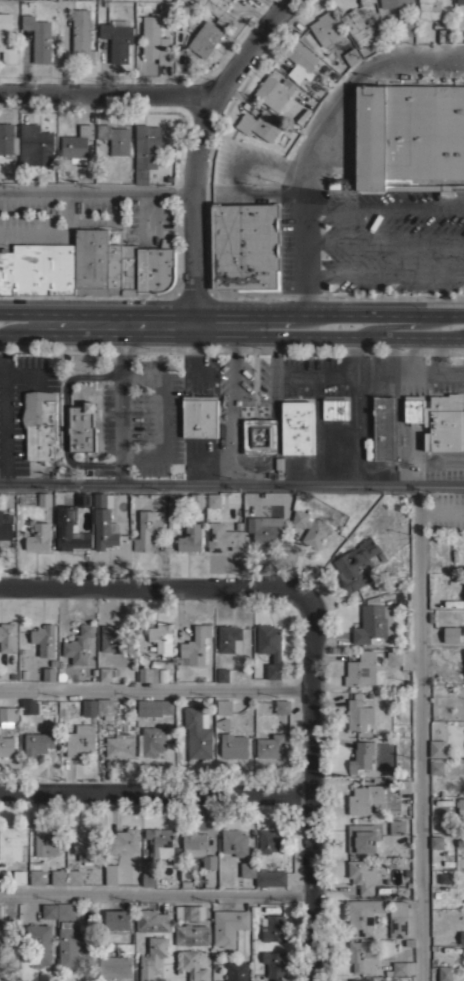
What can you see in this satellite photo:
building: (365, 1)
building: (460, 1)
building: (394, 2)
building: (429, 8)
building: (218, 10)
building: (182, 12)
building: (358, 27)
building: (409, 28)
building: (327, 29)
building: (156, 31)
building: (83, 34)
building: (446, 35)
building: (39, 37)
building: (7, 38)
building: (118, 38)
building: (205, 38)
building: (352, 56)
building: (301, 60)
building: (274, 91)
road: (109, 92)
building: (261, 124)
building: (115, 137)
building: (410, 137)
building: (7, 138)
building: (77, 144)
building: (35, 145)
building: (145, 150)
road: (197, 152)
building: (333, 184)
road: (269, 191)
road: (382, 204)
road: (54, 231)
road: (382, 241)
parking lot: (375, 242)
building: (245, 246)
road: (299, 247)
building: (97, 263)
building: (156, 266)
building: (44, 268)
building: (130, 268)
building: (6, 271)
road: (381, 276)
road: (96, 312)
road: (328, 312)
road: (48, 324)
road: (402, 324)
road: (51, 331)
road: (148, 331)
road: (328, 332)
road: (113, 343)
road: (130, 343)
road: (272, 374)
road: (368, 375)
building: (336, 408)
road: (360, 408)
building: (414, 409)
road: (164, 415)
building: (199, 416)
road: (120, 417)
road: (64, 418)
road: (236, 418)
building: (444, 422)
road: (4, 423)
building: (40, 425)
building: (82, 426)
building: (297, 427)
building: (384, 427)
road: (271, 434)
building: (260, 436)
building: (369, 448)
road: (447, 460)
building: (279, 467)
road: (232, 481)
building: (44, 499)
building: (103, 500)
building: (197, 500)
building: (214, 500)
building: (6, 525)
building: (71, 525)
building: (310, 526)
building: (265, 527)
building: (148, 528)
building: (105, 529)
building: (38, 537)
building: (191, 537)
building: (223, 537)
building: (356, 564)
road: (154, 587)
building: (373, 622)
building: (452, 634)
building: (8, 637)
building: (113, 638)
building: (161, 638)
building: (230, 638)
building: (44, 640)
building: (79, 645)
building: (195, 646)
building: (270, 647)
building: (394, 657)
building: (360, 668)
building: (49, 673)
building: (109, 673)
building: (148, 674)
building: (223, 674)
road: (156, 689)
building: (29, 706)
building: (224, 706)
building: (282, 706)
building: (89, 707)
building: (105, 707)
building: (154, 707)
building: (359, 713)
building: (8, 716)
building: (223, 722)
road: (418, 732)
building: (198, 733)
building: (80, 740)
building: (151, 740)
building: (38, 742)
building: (120, 745)
building: (234, 745)
building: (6, 746)
building: (271, 746)
building: (438, 748)
building: (362, 756)
building: (438, 766)
building: (405, 785)
road: (309, 791)
road: (154, 793)
building: (365, 798)
building: (460, 805)
building: (397, 826)
building: (362, 837)
building: (271, 840)
building: (47, 841)
building: (124, 841)
building: (160, 842)
building: (234, 842)
building: (437, 842)
building: (10, 843)
building: (86, 843)
building: (197, 848)
building: (46, 874)
building: (112, 874)
building: (263, 875)
building: (20, 876)
building: (79, 876)
building: (362, 876)
building: (446, 877)
building: (149, 879)
road: (155, 894)
building: (49, 910)
building: (66, 910)
building: (0, 911)
building: (190, 912)
building: (363, 915)
building: (398, 919)
building: (152, 920)
building: (118, 921)
building: (227, 926)
building: (273, 928)
building: (192, 934)
building: (3, 937)
building: (462, 937)
building: (39, 943)
building: (70, 944)
building: (364, 955)
building: (152, 957)
building: (275, 964)
building: (115, 965)
building: (192, 965)
building: (402, 968)
building: (236, 971)
building: (445, 973)
building: (361, 979)

